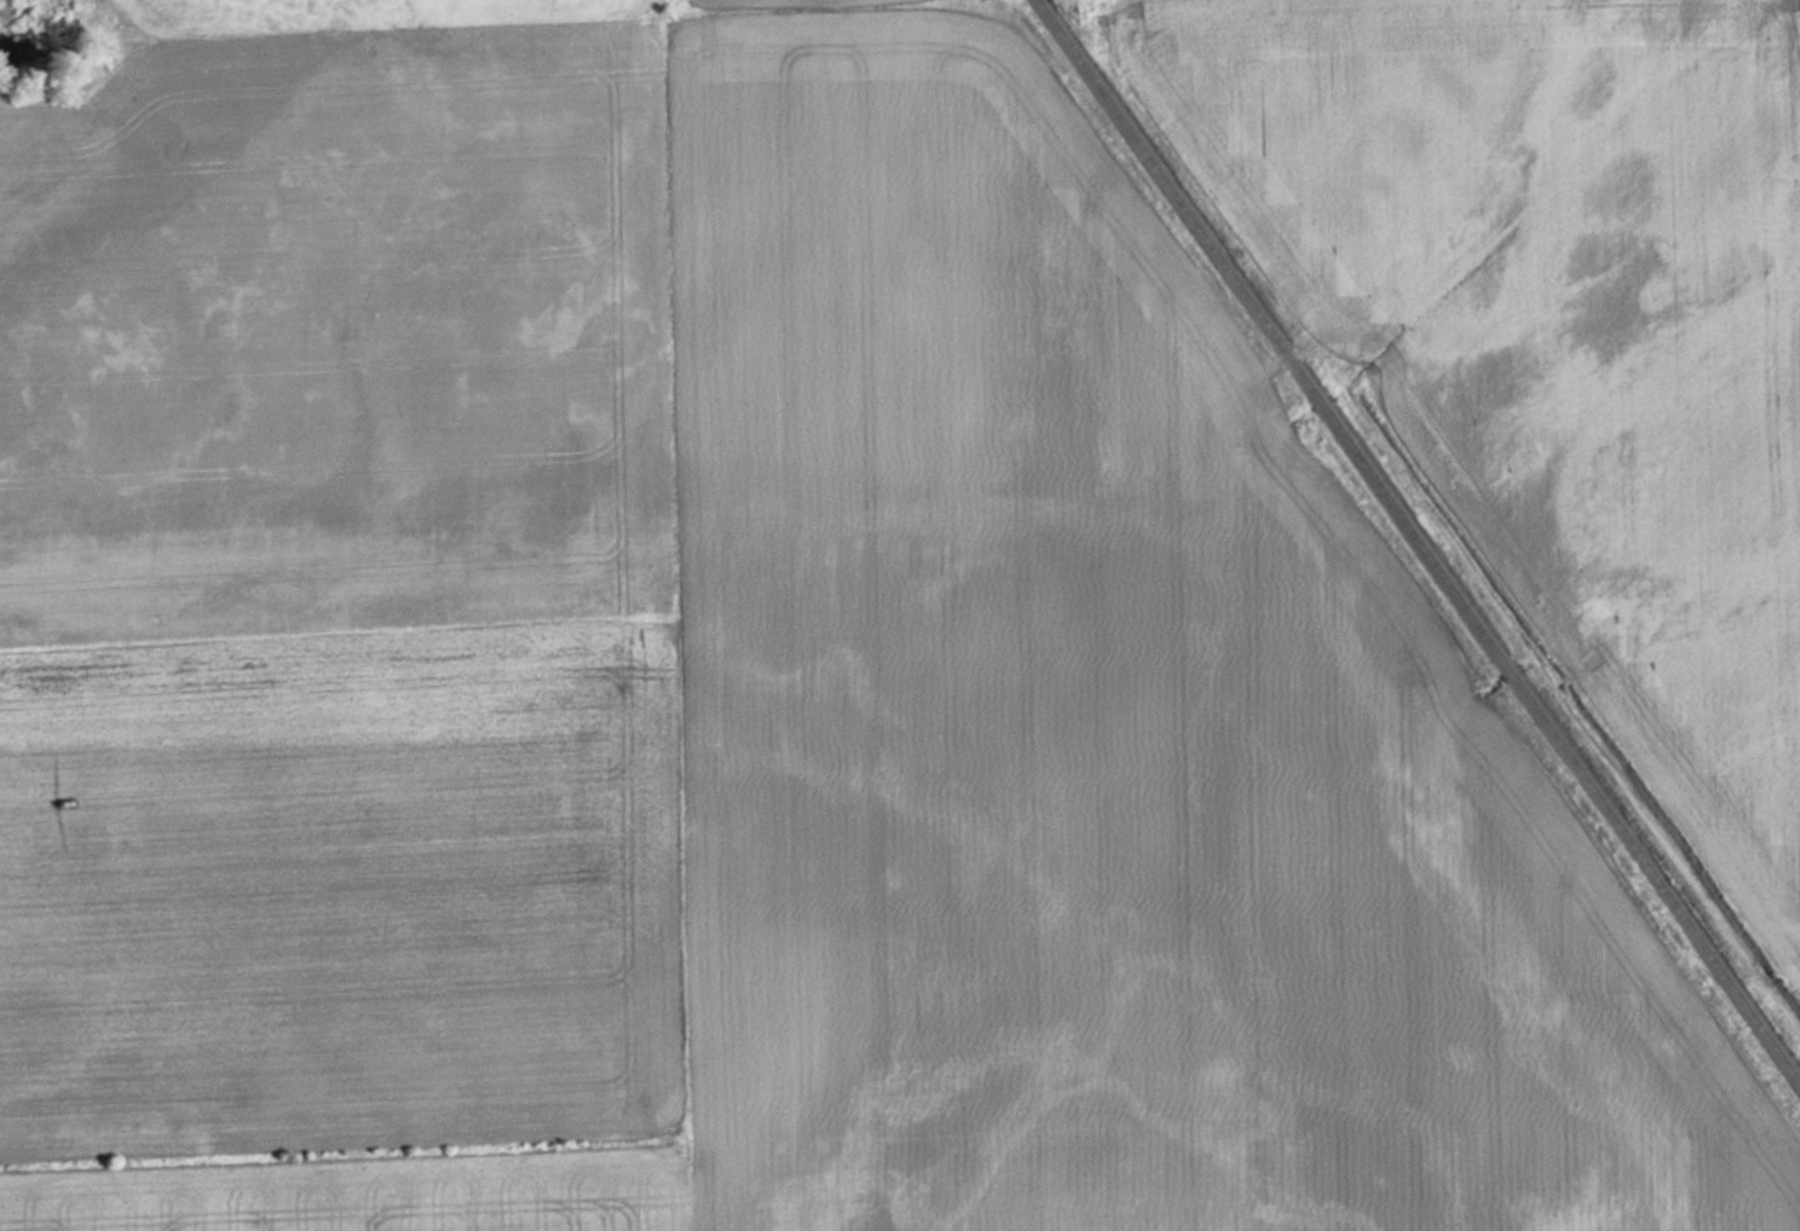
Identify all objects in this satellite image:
railway: (1419, 536)

